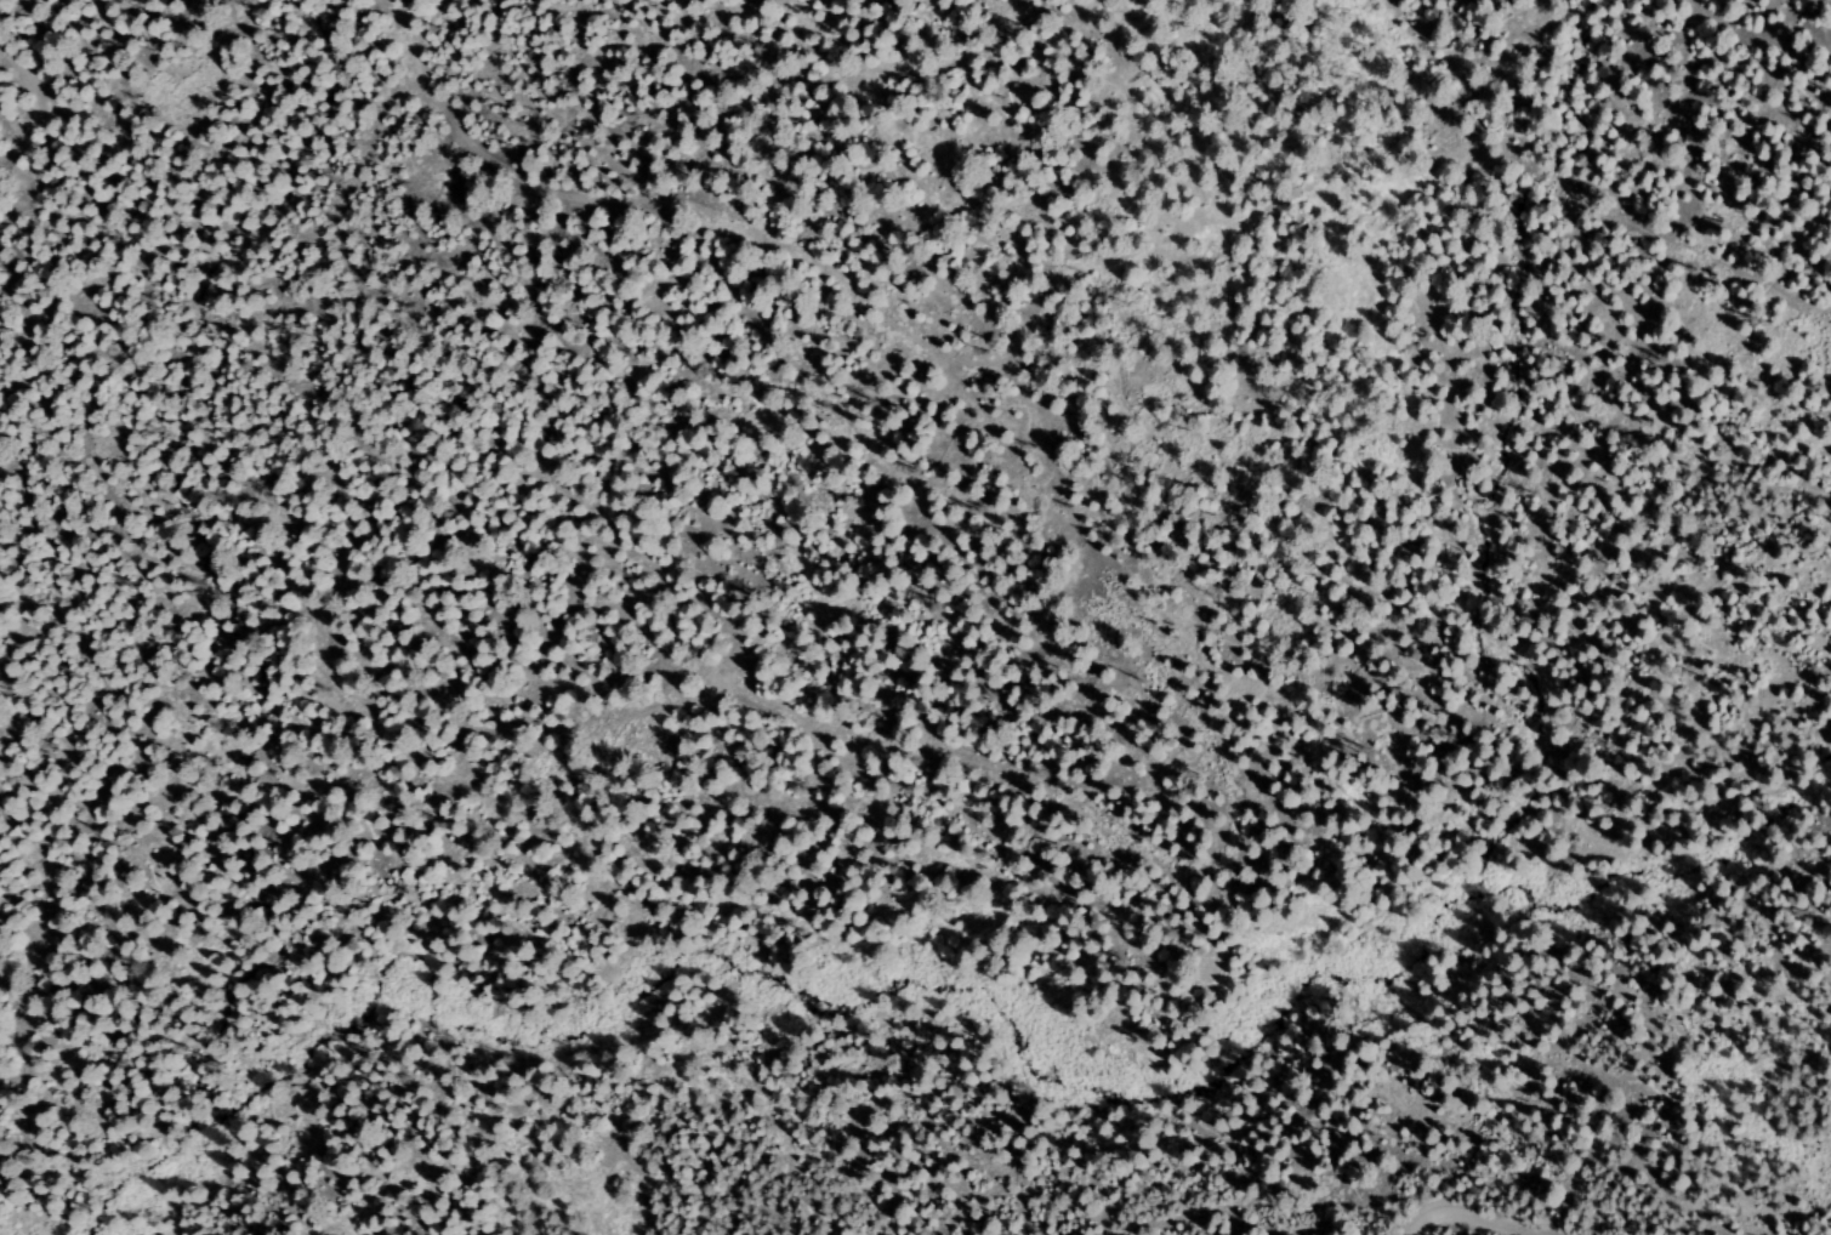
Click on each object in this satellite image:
road: (42, 102)
road: (1474, 1216)

